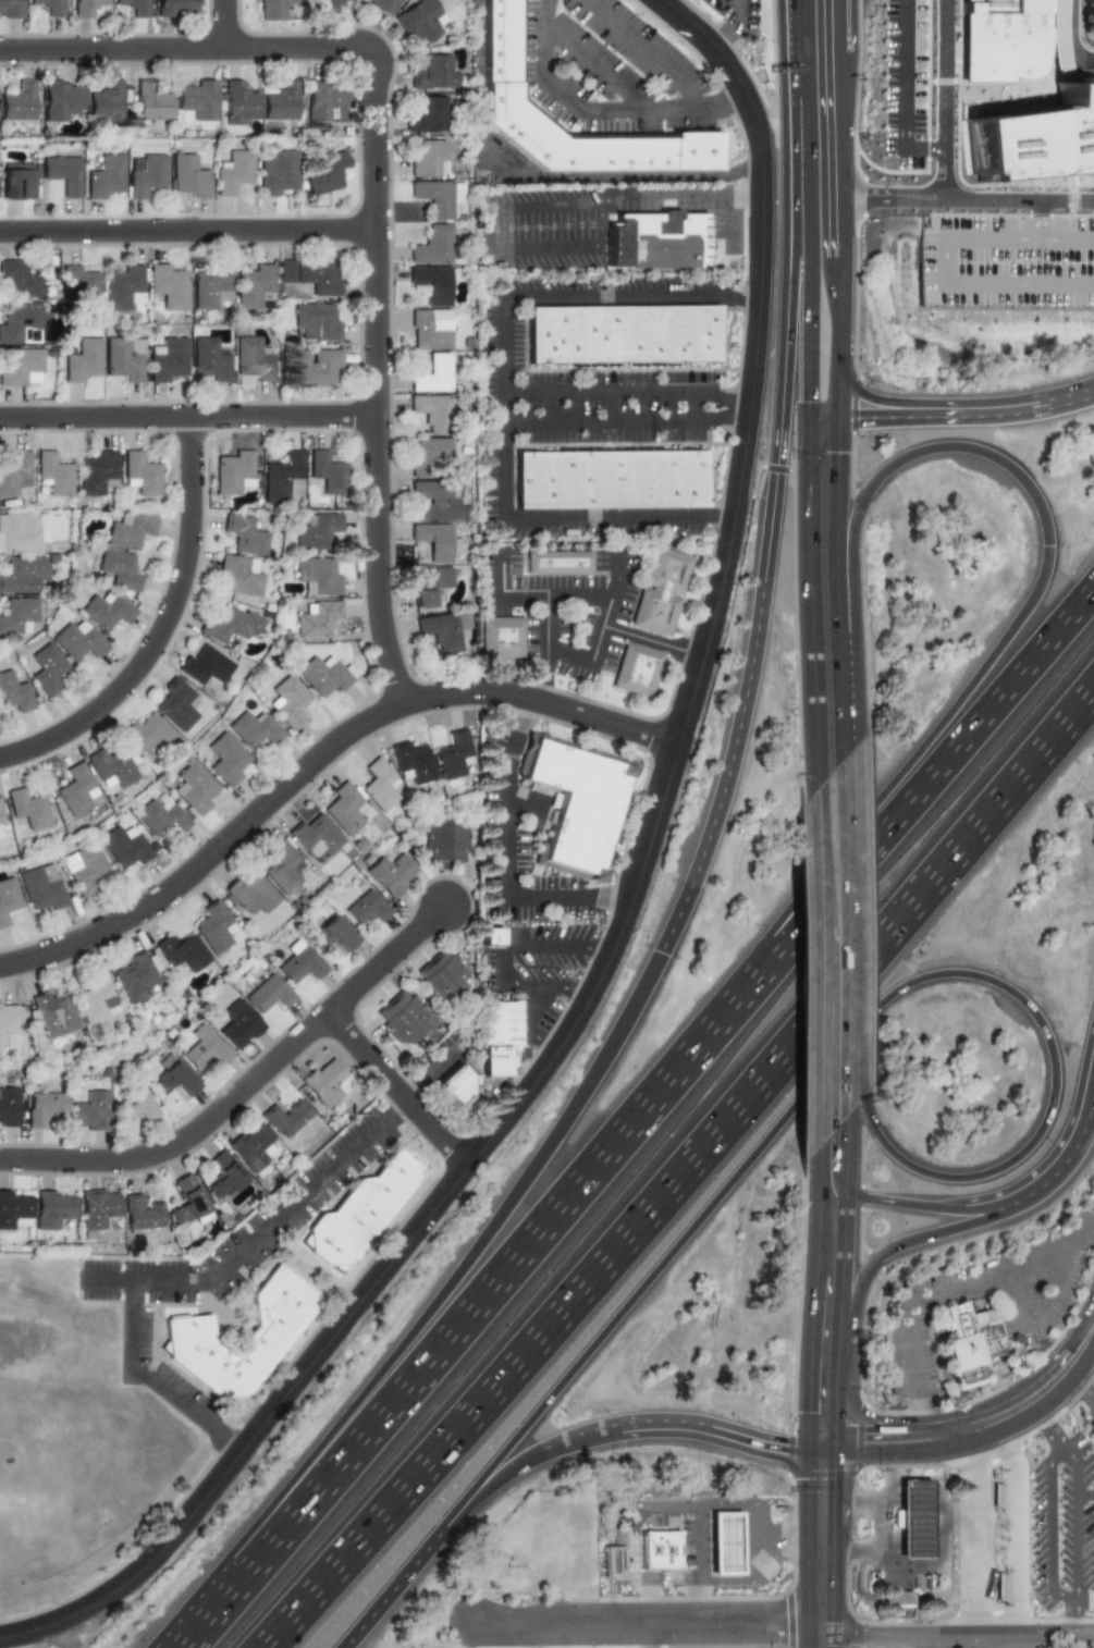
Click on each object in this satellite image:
building: (382, 4)
building: (330, 5)
building: (46, 7)
building: (133, 7)
building: (172, 7)
building: (84, 8)
building: (10, 9)
building: (272, 9)
building: (420, 21)
road: (223, 23)
road: (839, 25)
road: (730, 30)
building: (1001, 39)
building: (1057, 39)
road: (1067, 41)
building: (509, 48)
road: (806, 52)
road: (649, 53)
road: (595, 66)
parking lot: (906, 69)
building: (435, 72)
road: (986, 83)
road: (902, 94)
building: (195, 98)
building: (58, 99)
road: (943, 99)
building: (103, 100)
building: (16, 101)
building: (280, 101)
building: (327, 101)
building: (149, 102)
building: (237, 102)
road: (727, 103)
road: (580, 111)
building: (428, 114)
road: (785, 127)
building: (1034, 138)
road: (841, 153)
building: (429, 158)
building: (275, 171)
building: (62, 172)
building: (233, 172)
building: (327, 172)
building: (144, 173)
building: (103, 175)
building: (188, 175)
road: (533, 176)
road: (798, 180)
road: (809, 181)
building: (19, 182)
road: (683, 193)
road: (1073, 193)
road: (376, 194)
building: (438, 195)
road: (892, 197)
road: (1018, 200)
road: (1010, 214)
road: (1040, 216)
road: (606, 226)
road: (726, 226)
road: (187, 230)
road: (491, 232)
building: (666, 234)
road: (1065, 239)
building: (433, 245)
road: (945, 259)
building: (1007, 261)
parking garage: (1007, 261)
building: (312, 273)
building: (19, 280)
building: (434, 282)
building: (167, 285)
building: (255, 285)
road: (1066, 285)
building: (81, 286)
building: (122, 286)
building: (210, 286)
road: (632, 298)
road: (839, 310)
building: (316, 321)
building: (21, 323)
building: (431, 329)
building: (628, 333)
road: (810, 343)
building: (124, 358)
building: (167, 358)
building: (210, 359)
building: (83, 360)
building: (253, 361)
building: (22, 367)
building: (317, 368)
building: (434, 373)
road: (599, 391)
road: (720, 395)
road: (839, 398)
road: (875, 399)
road: (693, 404)
road: (506, 408)
road: (1009, 408)
building: (434, 413)
road: (187, 416)
road: (721, 417)
road: (600, 421)
road: (873, 421)
traffic signals: (822, 427)
building: (430, 453)
building: (14, 471)
building: (97, 472)
building: (140, 472)
building: (234, 472)
building: (325, 472)
building: (54, 474)
building: (613, 475)
building: (281, 477)
building: (441, 499)
road: (619, 517)
building: (130, 529)
road: (823, 529)
building: (319, 530)
building: (20, 533)
building: (245, 533)
road: (1054, 533)
building: (435, 539)
building: (562, 562)
building: (121, 568)
building: (23, 573)
building: (318, 574)
building: (239, 575)
road: (501, 576)
building: (430, 583)
building: (664, 591)
road: (555, 597)
building: (107, 610)
road: (761, 611)
building: (19, 614)
building: (318, 617)
building: (233, 624)
road: (162, 626)
road: (601, 628)
building: (442, 629)
building: (505, 637)
building: (79, 641)
road: (652, 642)
road: (549, 649)
building: (204, 665)
building: (48, 669)
building: (640, 669)
building: (325, 674)
building: (13, 691)
building: (291, 701)
road: (825, 702)
building: (177, 703)
building: (257, 728)
road: (979, 729)
building: (149, 733)
building: (453, 753)
road: (317, 755)
building: (228, 759)
building: (414, 762)
building: (111, 766)
building: (380, 784)
building: (196, 787)
building: (76, 789)
road: (523, 803)
building: (581, 803)
building: (345, 807)
building: (28, 808)
building: (163, 815)
building: (1, 821)
building: (317, 836)
building: (446, 840)
building: (127, 845)
road: (504, 858)
road: (824, 861)
building: (284, 866)
building: (85, 869)
building: (391, 873)
building: (45, 887)
building: (250, 894)
building: (9, 898)
building: (367, 908)
road: (623, 918)
building: (214, 926)
building: (334, 935)
building: (494, 937)
building: (183, 952)
road: (501, 957)
building: (300, 964)
building: (136, 975)
building: (443, 976)
building: (268, 994)
building: (96, 998)
building: (54, 1012)
building: (403, 1017)
road: (839, 1023)
building: (238, 1024)
building: (8, 1026)
road: (532, 1026)
building: (503, 1034)
road: (824, 1041)
road: (852, 1043)
building: (206, 1048)
building: (174, 1080)
building: (324, 1081)
road: (245, 1085)
building: (458, 1087)
road: (395, 1089)
building: (45, 1105)
building: (137, 1105)
building: (9, 1106)
building: (90, 1110)
building: (287, 1117)
road: (1084, 1132)
building: (254, 1145)
road: (680, 1167)
building: (225, 1173)
building: (187, 1198)
road: (872, 1202)
road: (1001, 1206)
building: (54, 1207)
building: (15, 1209)
building: (99, 1209)
building: (143, 1214)
building: (364, 1215)
road: (1090, 1230)
road: (258, 1231)
road: (922, 1235)
road: (822, 1244)
road: (527, 1256)
road: (950, 1291)
road: (441, 1312)
road: (1044, 1313)
building: (190, 1337)
building: (972, 1348)
road: (1042, 1376)
road: (158, 1378)
road: (1084, 1385)
road: (1052, 1395)
road: (822, 1400)
traffic signals: (822, 1405)
road: (923, 1417)
road: (944, 1421)
road: (890, 1426)
road: (1049, 1428)
road: (968, 1429)
road: (721, 1434)
road: (986, 1436)
road: (840, 1438)
road: (582, 1440)
traffic signals: (779, 1446)
road: (950, 1446)
road: (869, 1450)
road: (908, 1450)
traffic signals: (870, 1451)
road: (1056, 1454)
road: (888, 1463)
road: (821, 1469)
road: (932, 1475)
road: (504, 1477)
traffic signals: (822, 1483)
road: (888, 1486)
road: (855, 1497)
road: (751, 1508)
road: (956, 1515)
road: (821, 1517)
road: (1077, 1521)
road: (888, 1522)
building: (913, 1523)
road: (1050, 1527)
road: (1017, 1530)
road: (974, 1537)
road: (855, 1542)
building: (730, 1548)
building: (673, 1552)
road: (888, 1563)
building: (617, 1564)
road: (696, 1565)
road: (935, 1569)
road: (403, 1574)
road: (820, 1582)
building: (999, 1587)
road: (1067, 1596)
building: (897, 1601)
road: (1078, 1615)
road: (650, 1623)
road: (896, 1633)
road: (1033, 1633)
road: (531, 1635)
road: (651, 1635)
road: (820, 1637)
road: (929, 1640)
road: (966, 1640)

